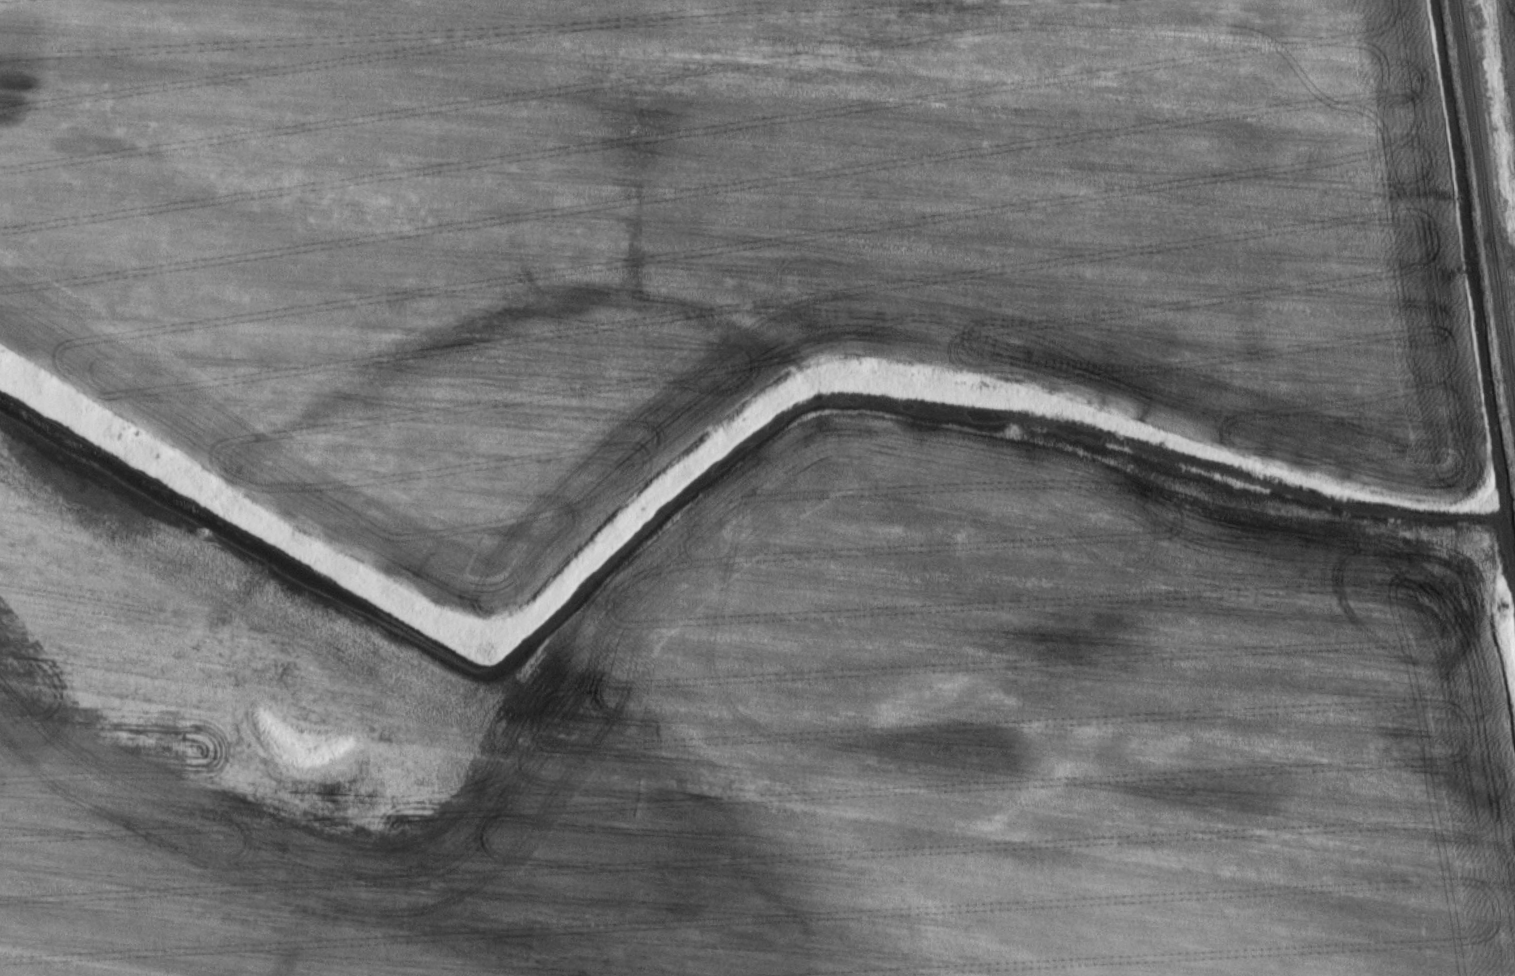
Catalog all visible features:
road: (1485, 195)

